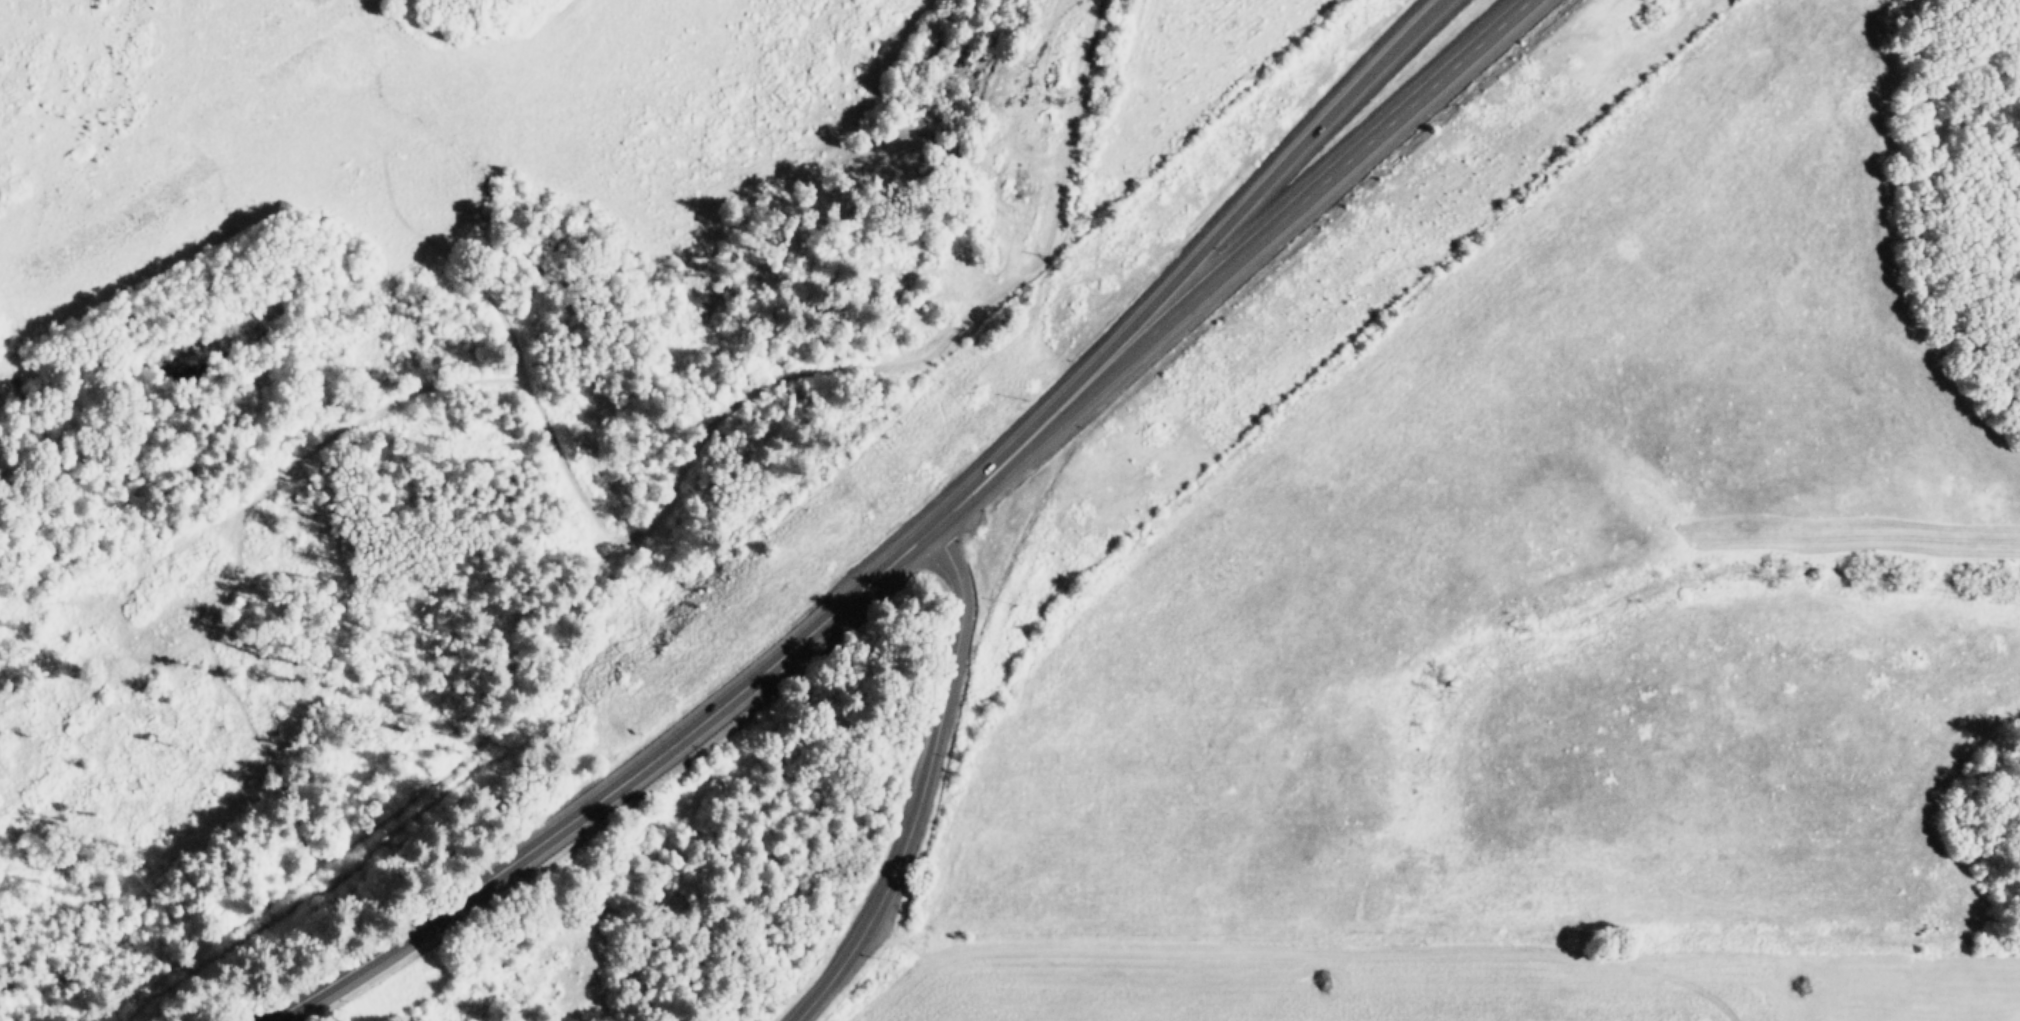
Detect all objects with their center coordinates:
road: (1072, 132)
crop: (100, 141)
road: (1340, 169)
road: (1190, 264)
road: (1043, 435)
crop: (1529, 587)
road: (922, 787)
road: (612, 793)

